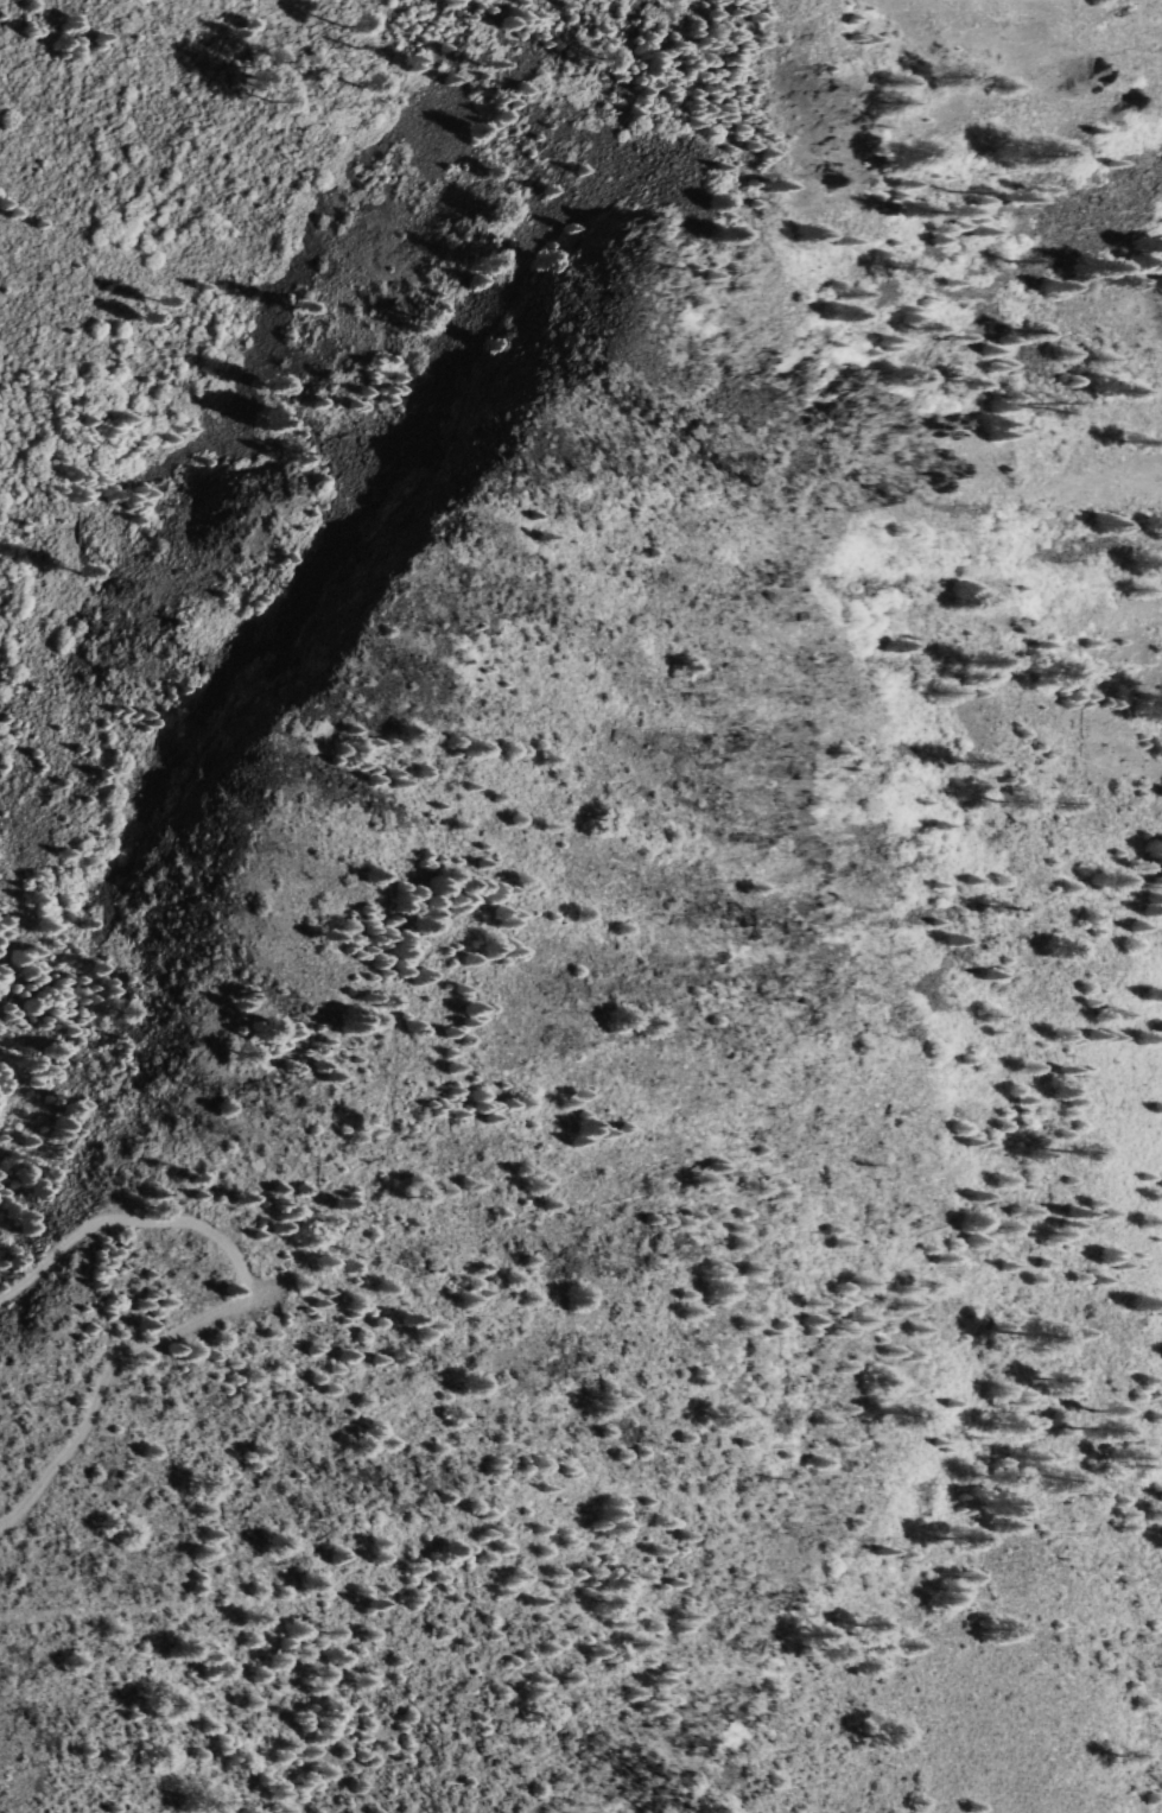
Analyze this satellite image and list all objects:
road: (229, 1302)

